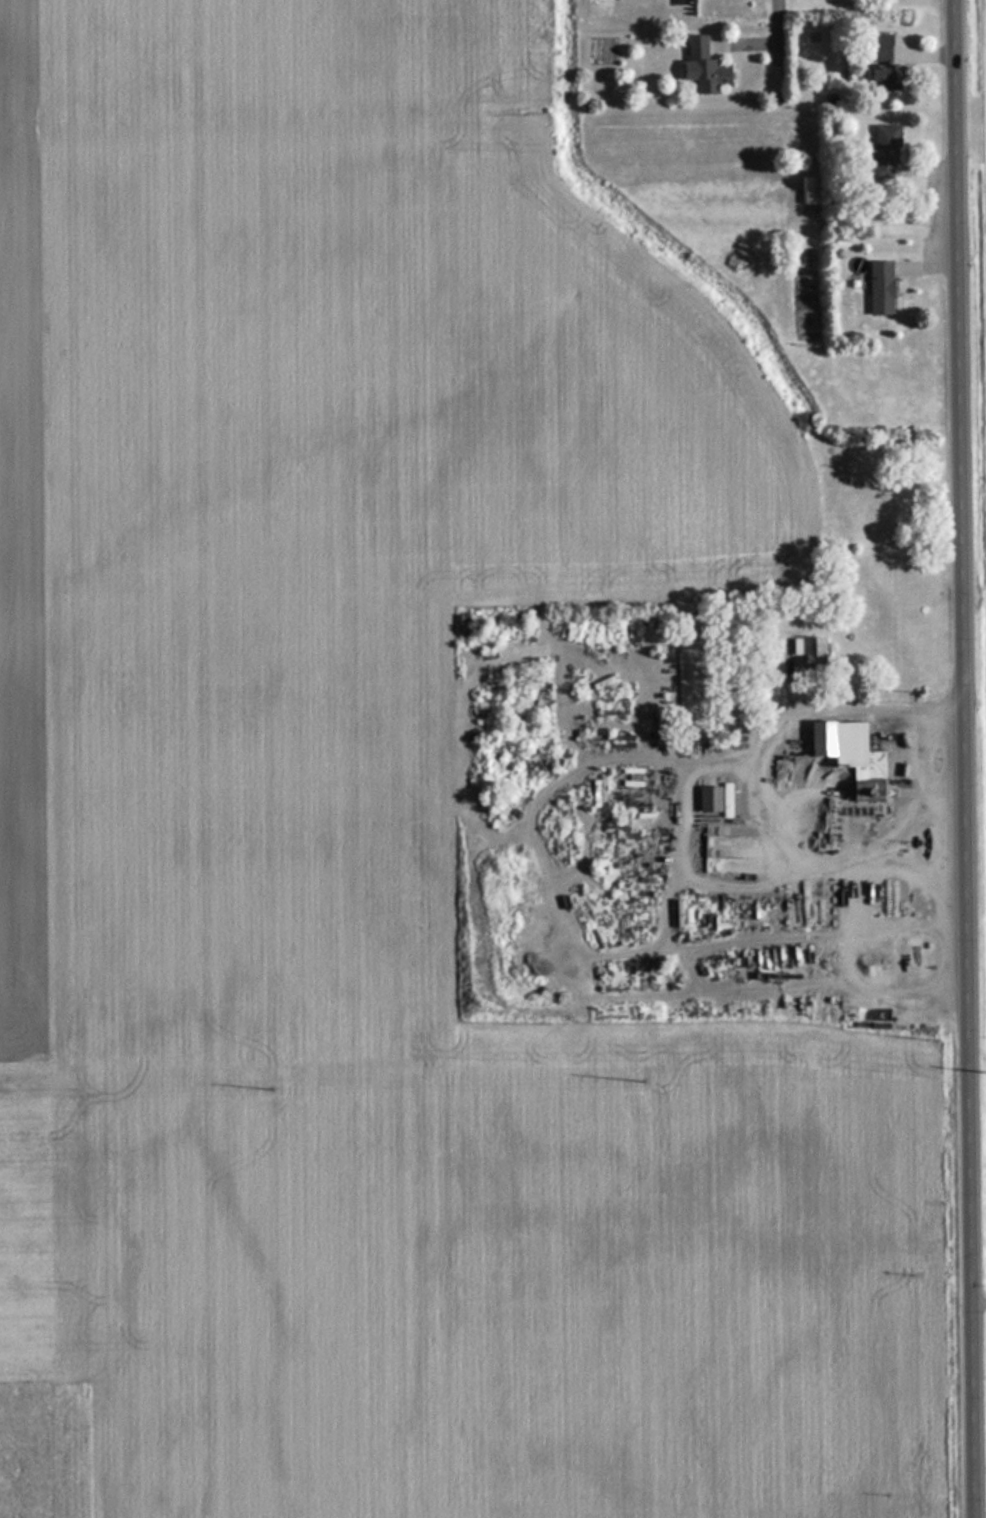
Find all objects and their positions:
road: (778, 29)
building: (701, 67)
building: (882, 69)
building: (885, 147)
building: (808, 191)
building: (878, 288)
building: (461, 625)
storage tank: (461, 625)
building: (811, 653)
building: (842, 745)
road: (969, 758)
building: (708, 799)
building: (908, 1018)

